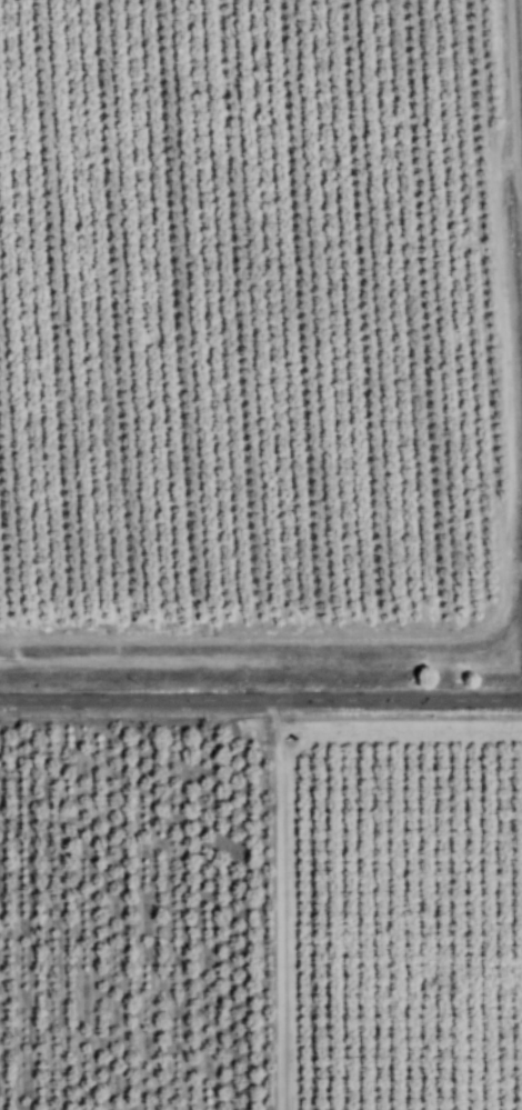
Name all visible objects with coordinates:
road: (261, 698)

